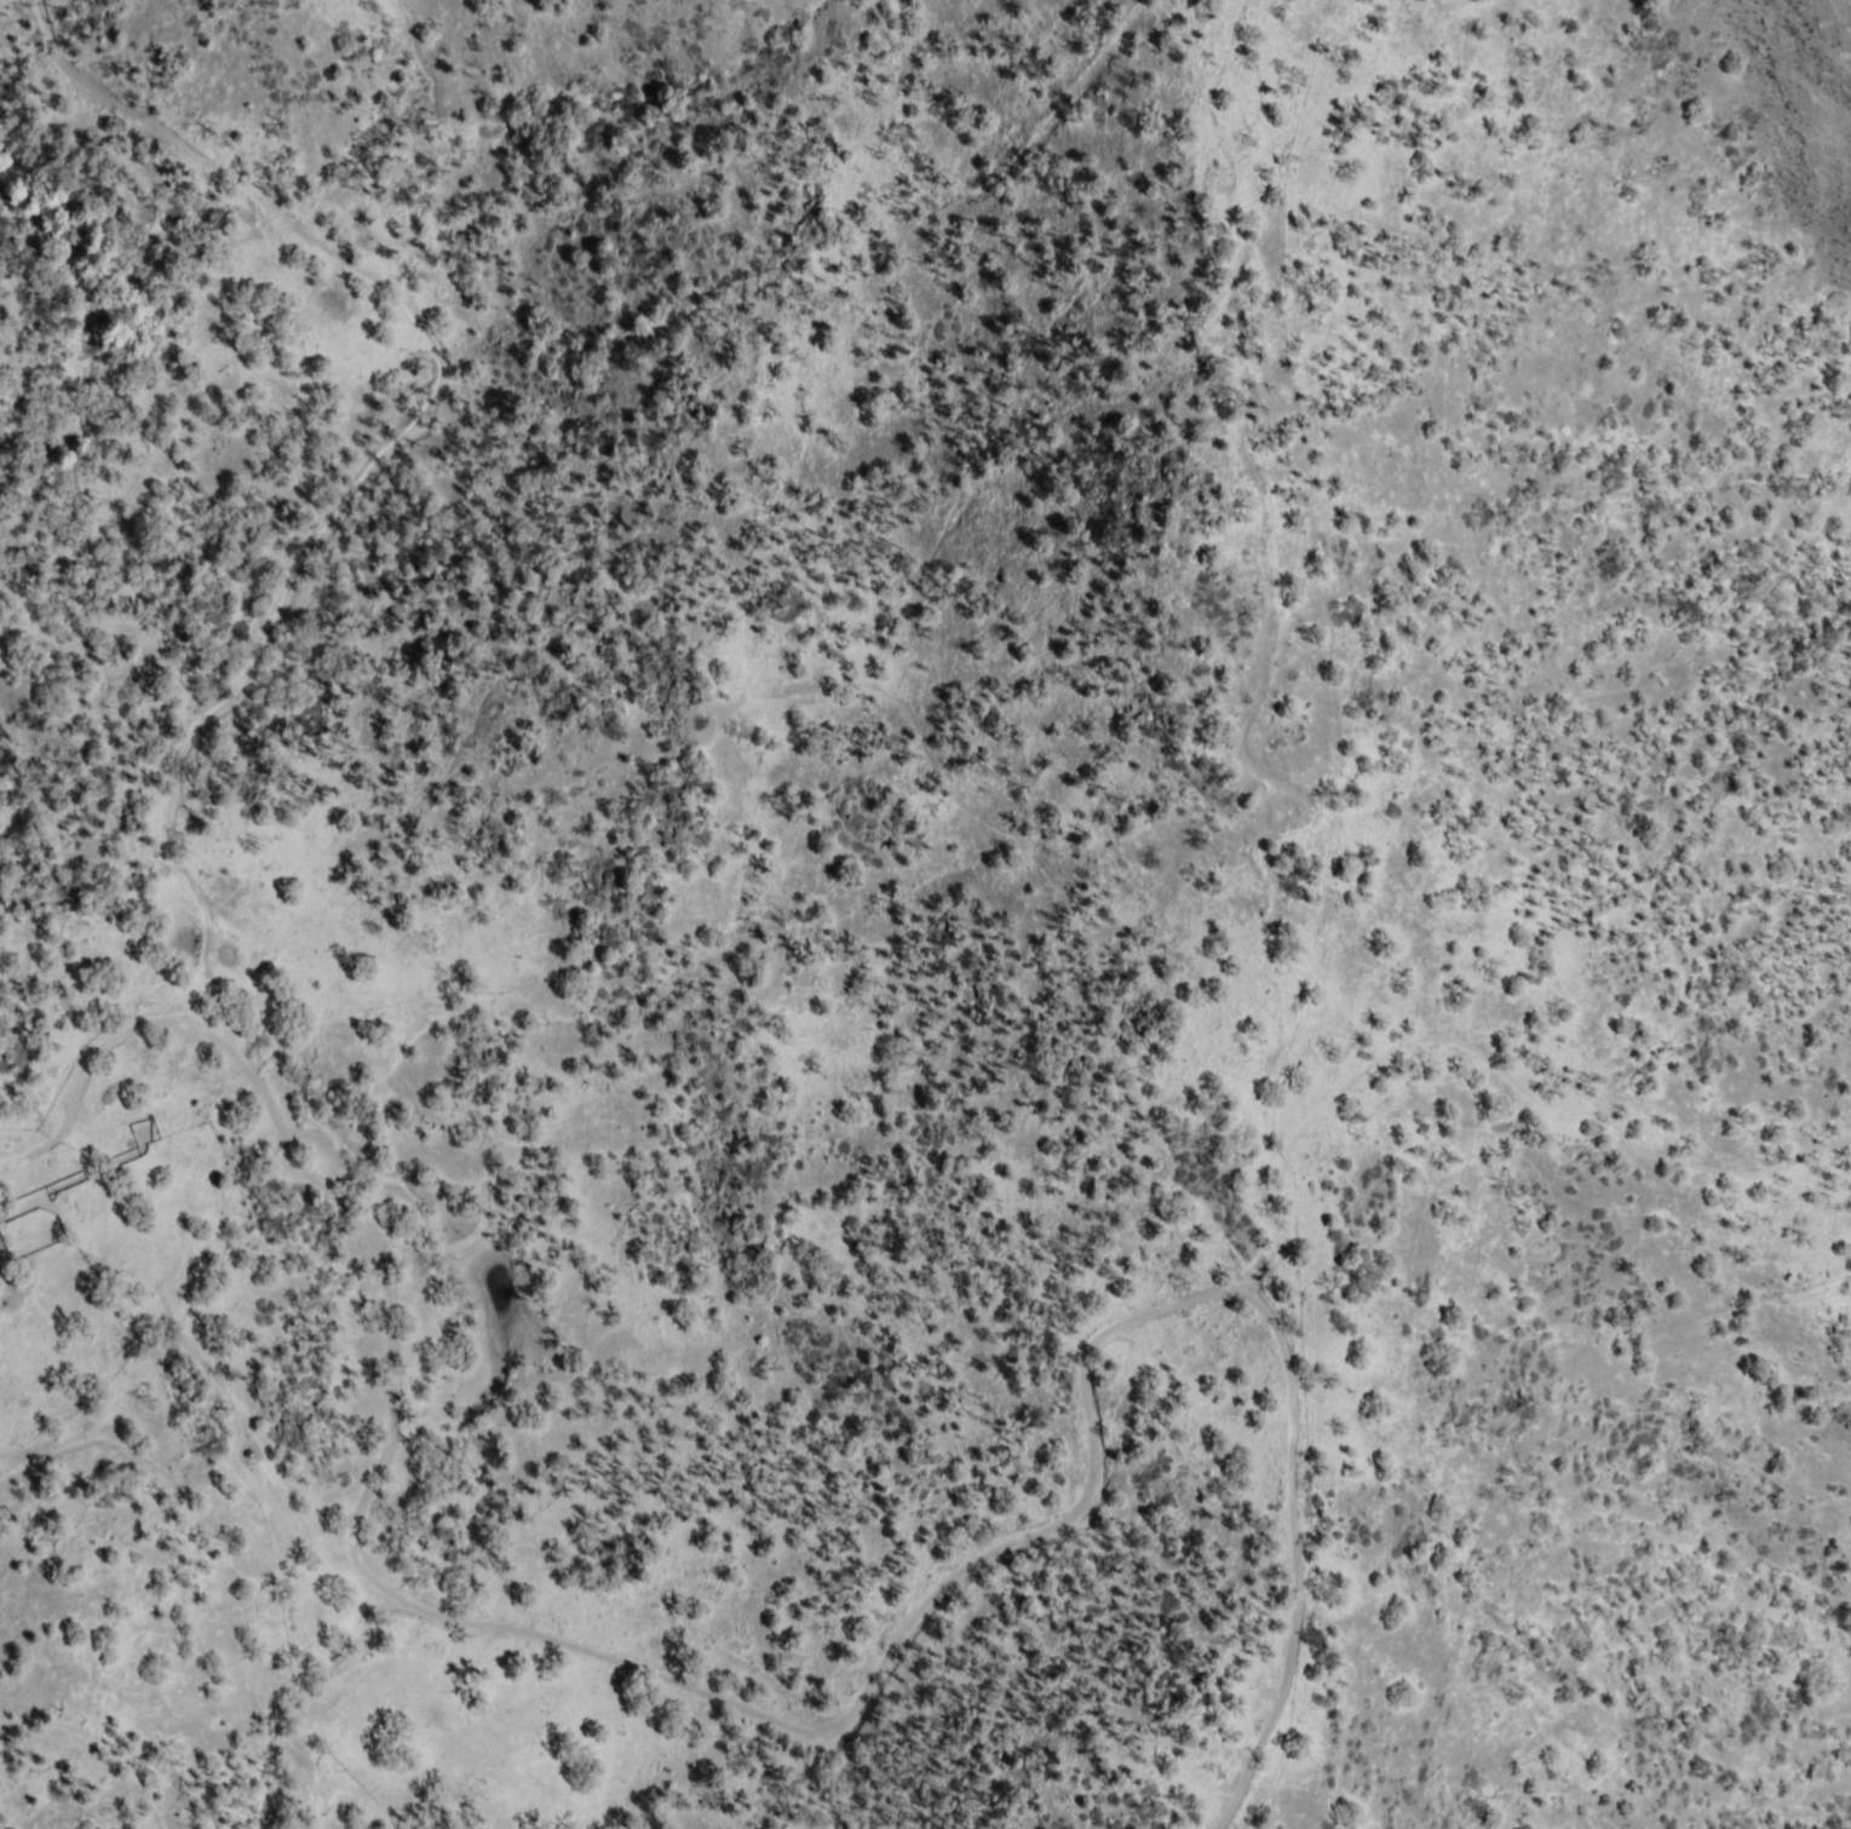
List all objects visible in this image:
road: (777, 1684)

